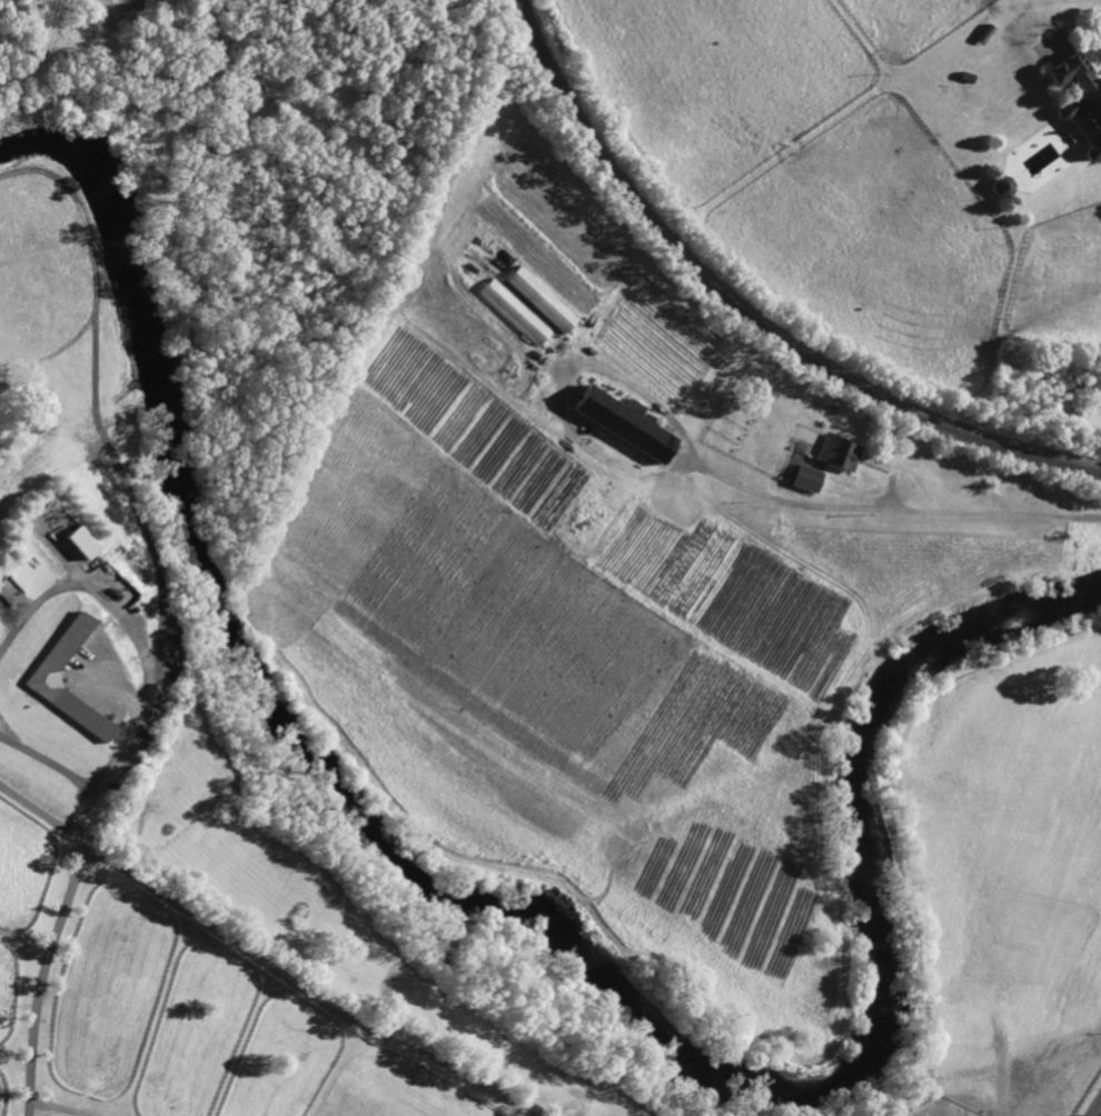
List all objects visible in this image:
building: (989, 30)
building: (966, 77)
building: (1080, 97)
building: (1002, 187)
building: (543, 298)
building: (515, 310)
railway: (746, 313)
building: (626, 421)
building: (840, 450)
building: (809, 477)
road: (895, 504)
building: (71, 530)
road: (133, 635)
building: (43, 676)
road: (52, 765)
road: (88, 824)
road: (260, 960)
road: (42, 977)
road: (1097, 1109)
building: (885, 1113)

